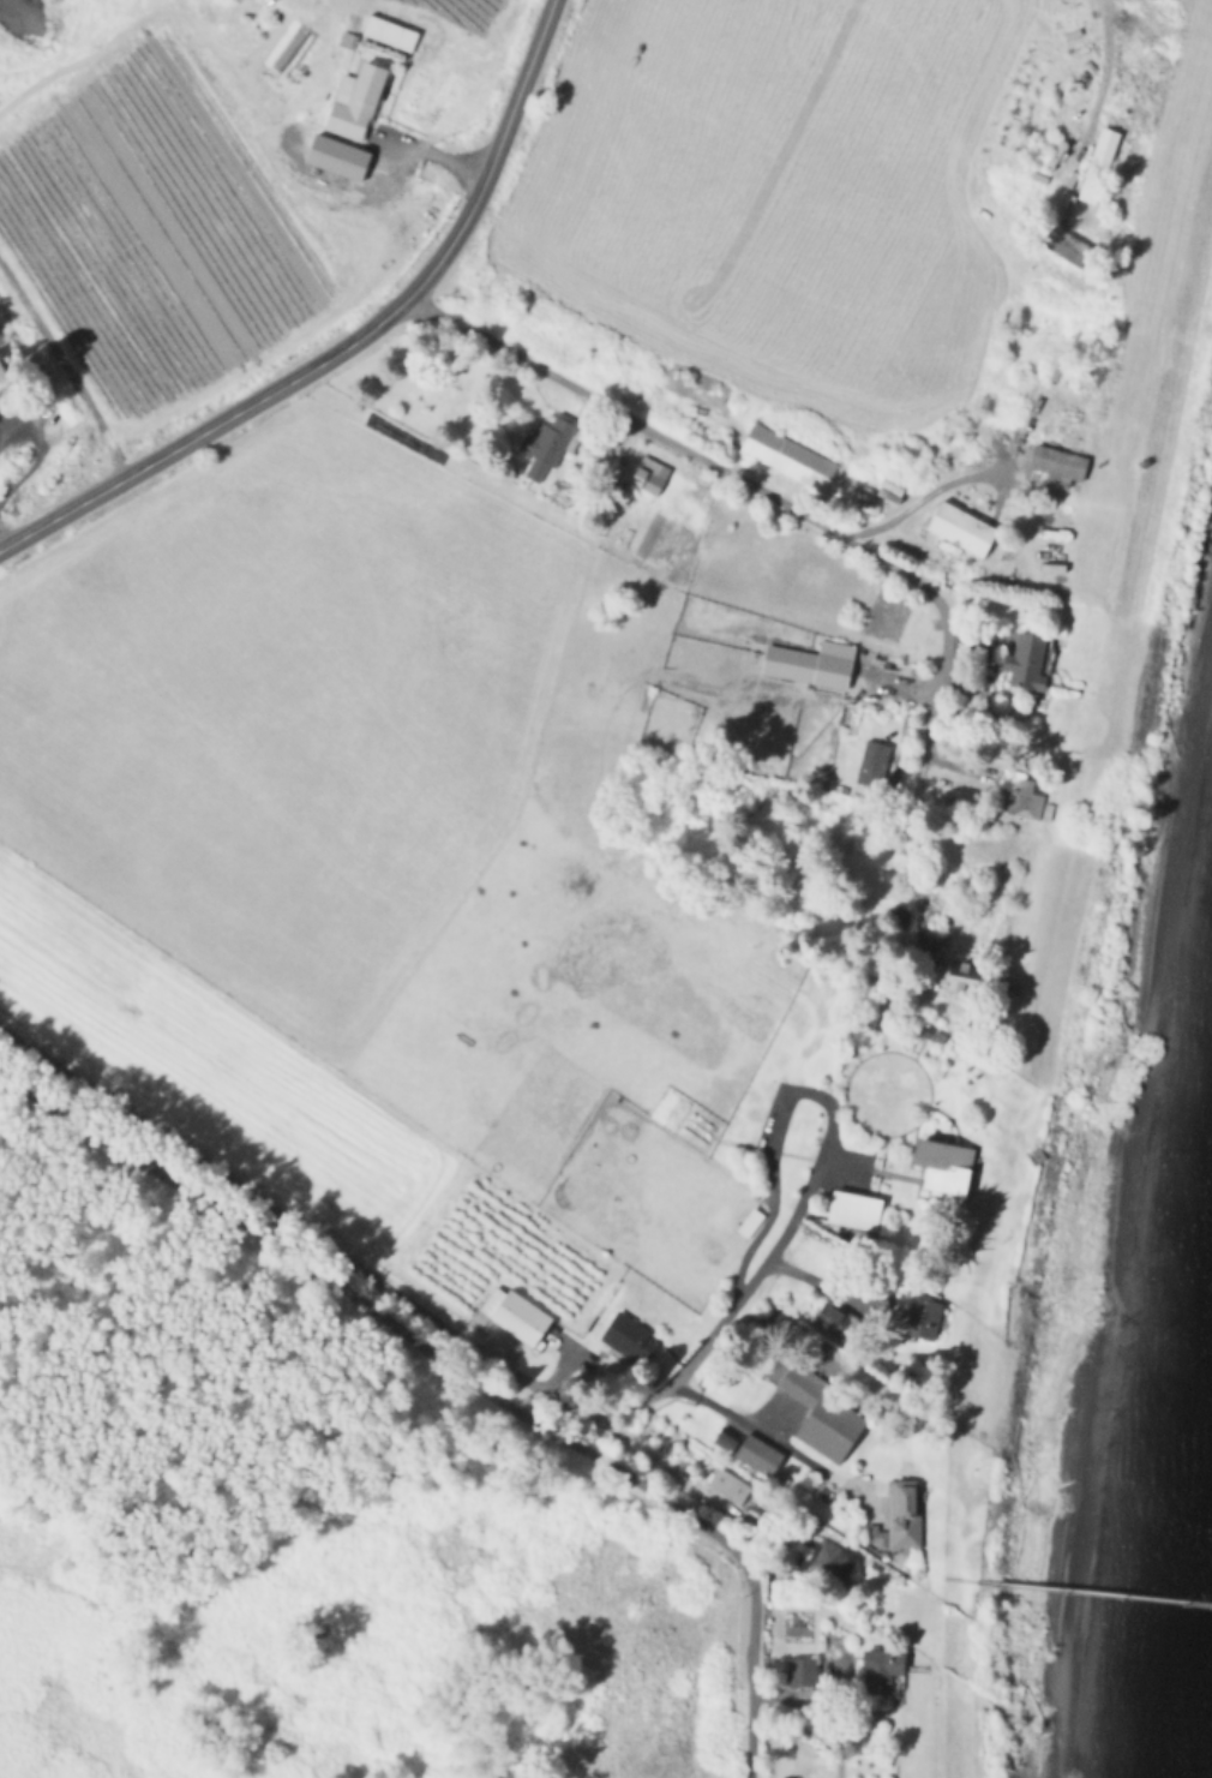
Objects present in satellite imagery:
building: (392, 30)
building: (349, 36)
road: (527, 70)
road: (1099, 80)
building: (360, 98)
road: (440, 152)
building: (341, 155)
building: (1097, 175)
crop: (152, 225)
building: (1066, 240)
road: (436, 262)
building: (2, 369)
road: (64, 369)
building: (551, 443)
road: (166, 453)
building: (791, 453)
road: (35, 455)
building: (1062, 463)
building: (653, 475)
road: (930, 491)
road: (812, 521)
building: (965, 523)
building: (806, 660)
building: (1030, 660)
building: (872, 754)
building: (1008, 780)
building: (1028, 803)
crop: (371, 860)
building: (964, 974)
building: (932, 1034)
building: (947, 1165)
road: (810, 1185)
building: (859, 1209)
building: (748, 1221)
road: (283, 1223)
road: (830, 1286)
building: (518, 1316)
building: (830, 1318)
building: (924, 1318)
building: (631, 1339)
road: (467, 1373)
building: (826, 1419)
road: (775, 1438)
building: (751, 1451)
road: (650, 1454)
building: (731, 1485)
building: (826, 1492)
building: (908, 1525)
building: (877, 1535)
building: (828, 1561)
pier: (1080, 1588)
building: (804, 1671)
building: (880, 1674)

